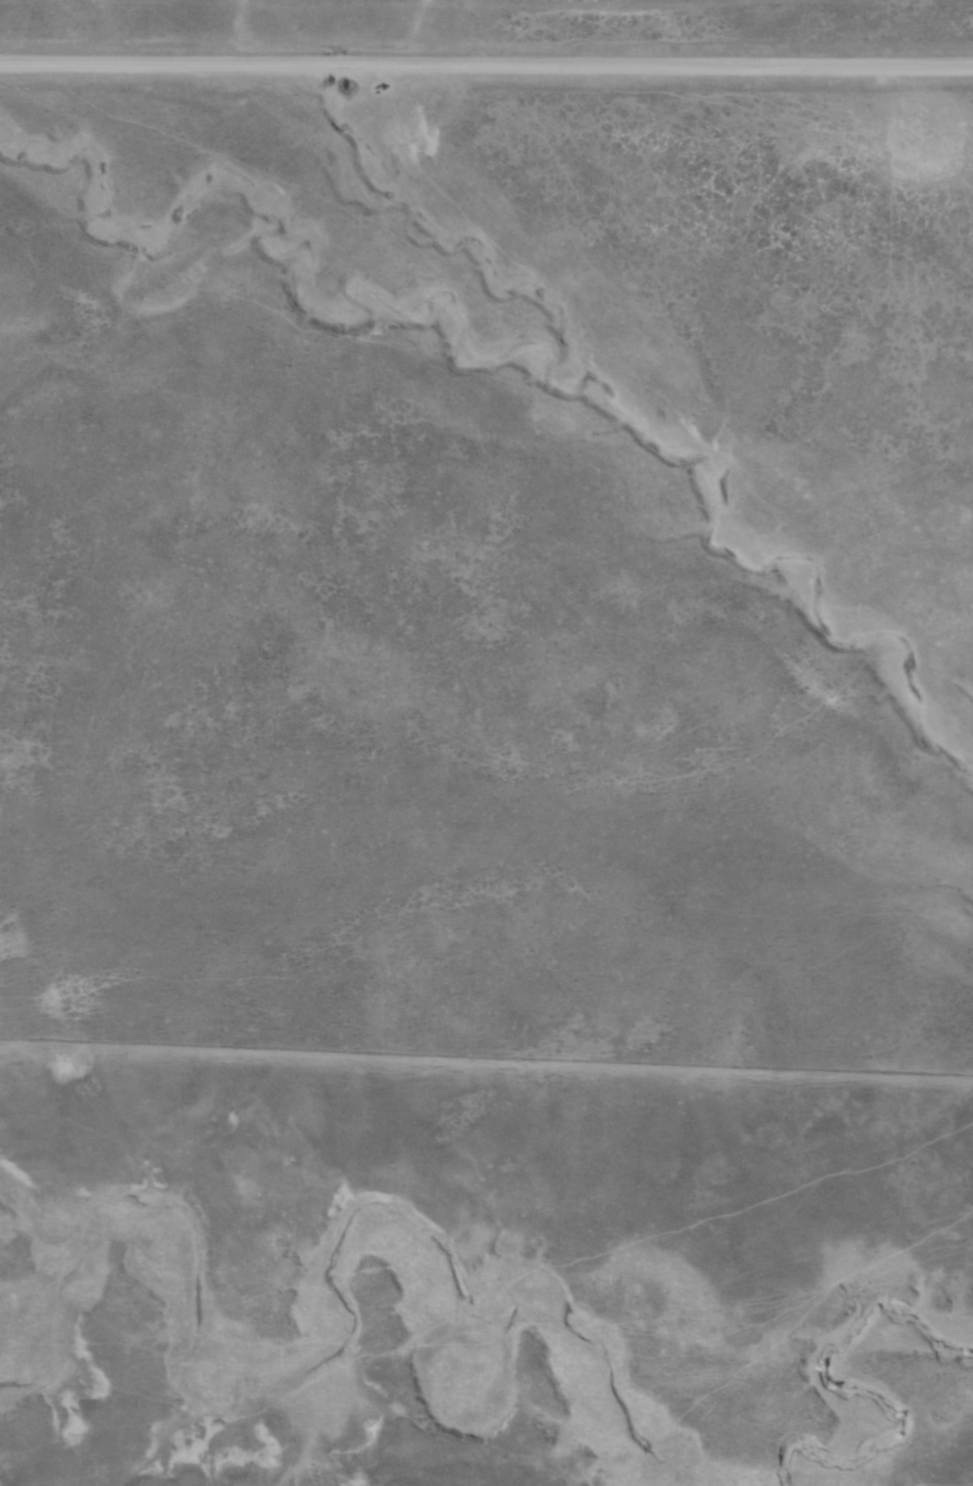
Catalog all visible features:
road: (486, 50)

